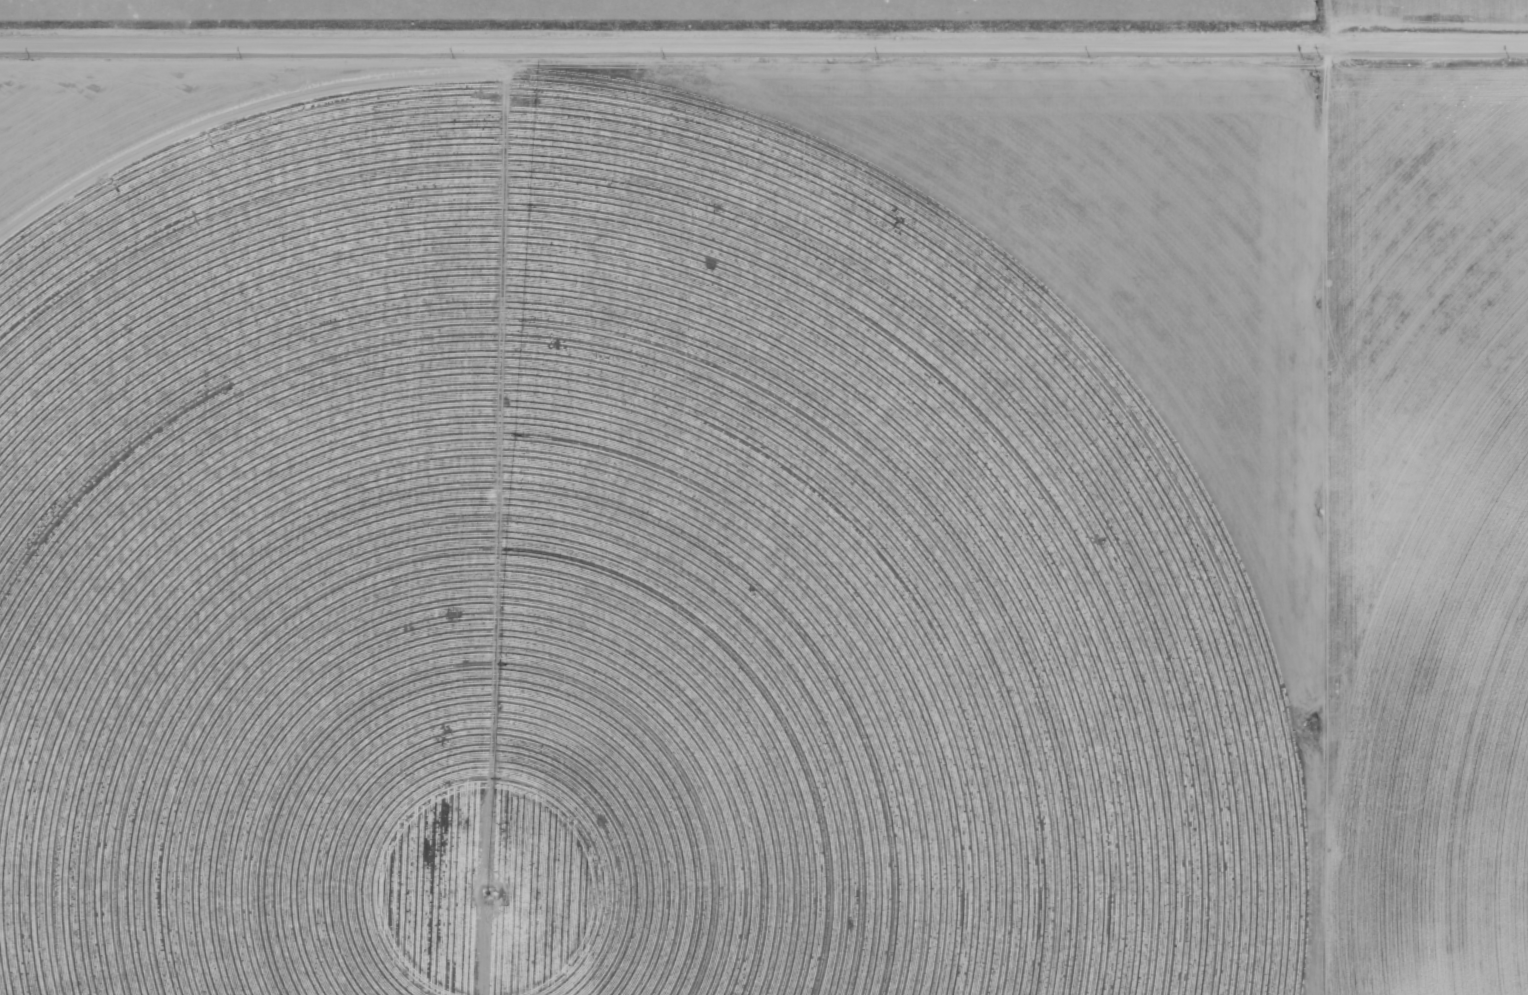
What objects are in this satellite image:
road: (764, 46)

